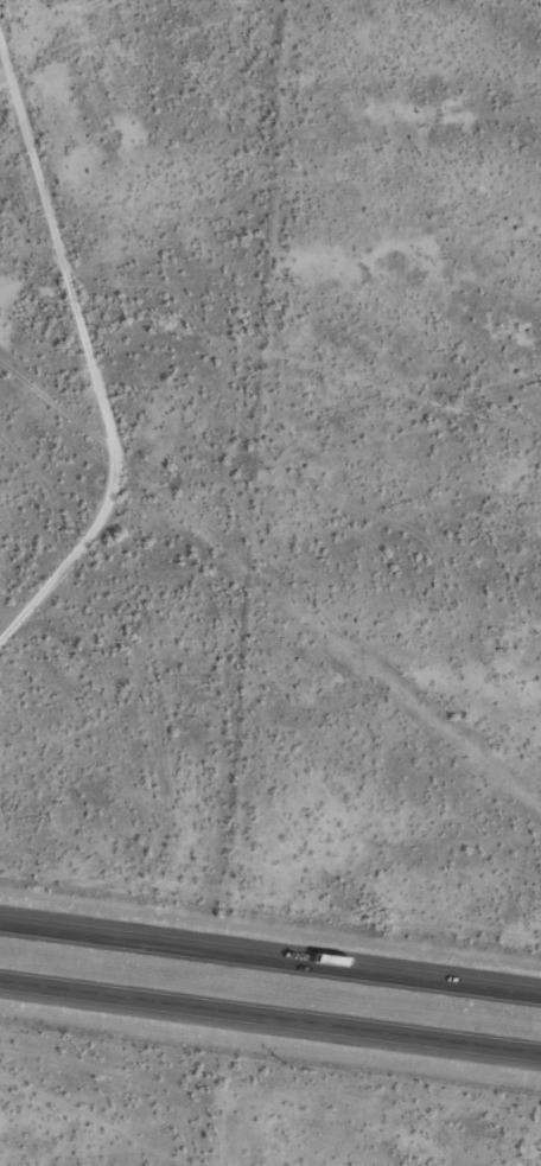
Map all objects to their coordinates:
road: (270, 961)
road: (270, 1019)

